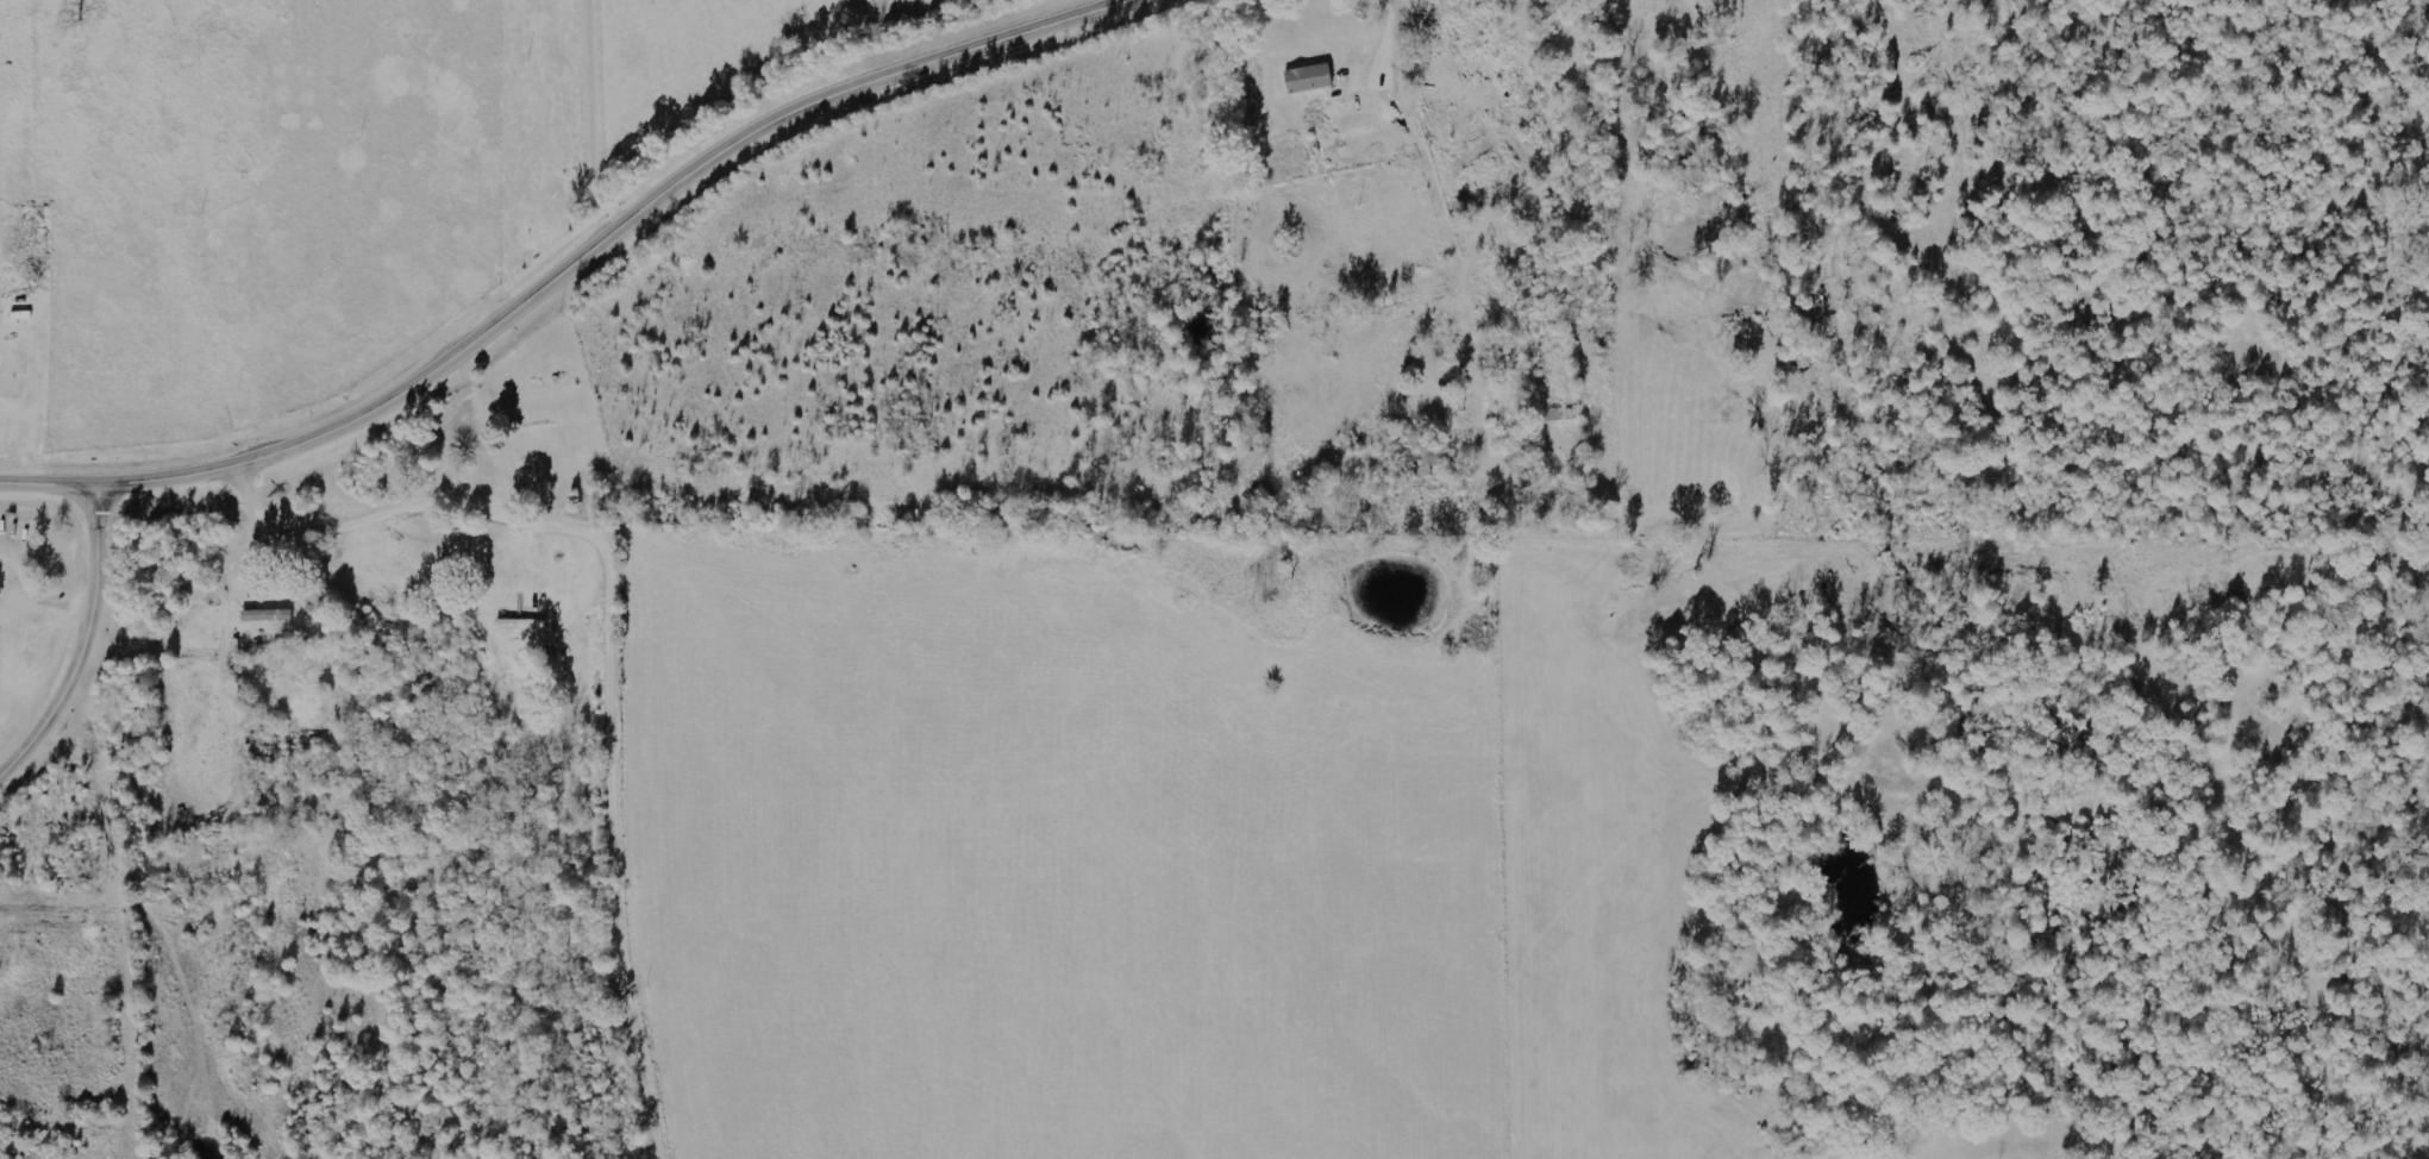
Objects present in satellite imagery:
building: (1313, 79)
road: (589, 115)
road: (568, 265)
building: (271, 614)
building: (525, 624)
road: (620, 641)
road: (87, 645)
building: (0, 653)

